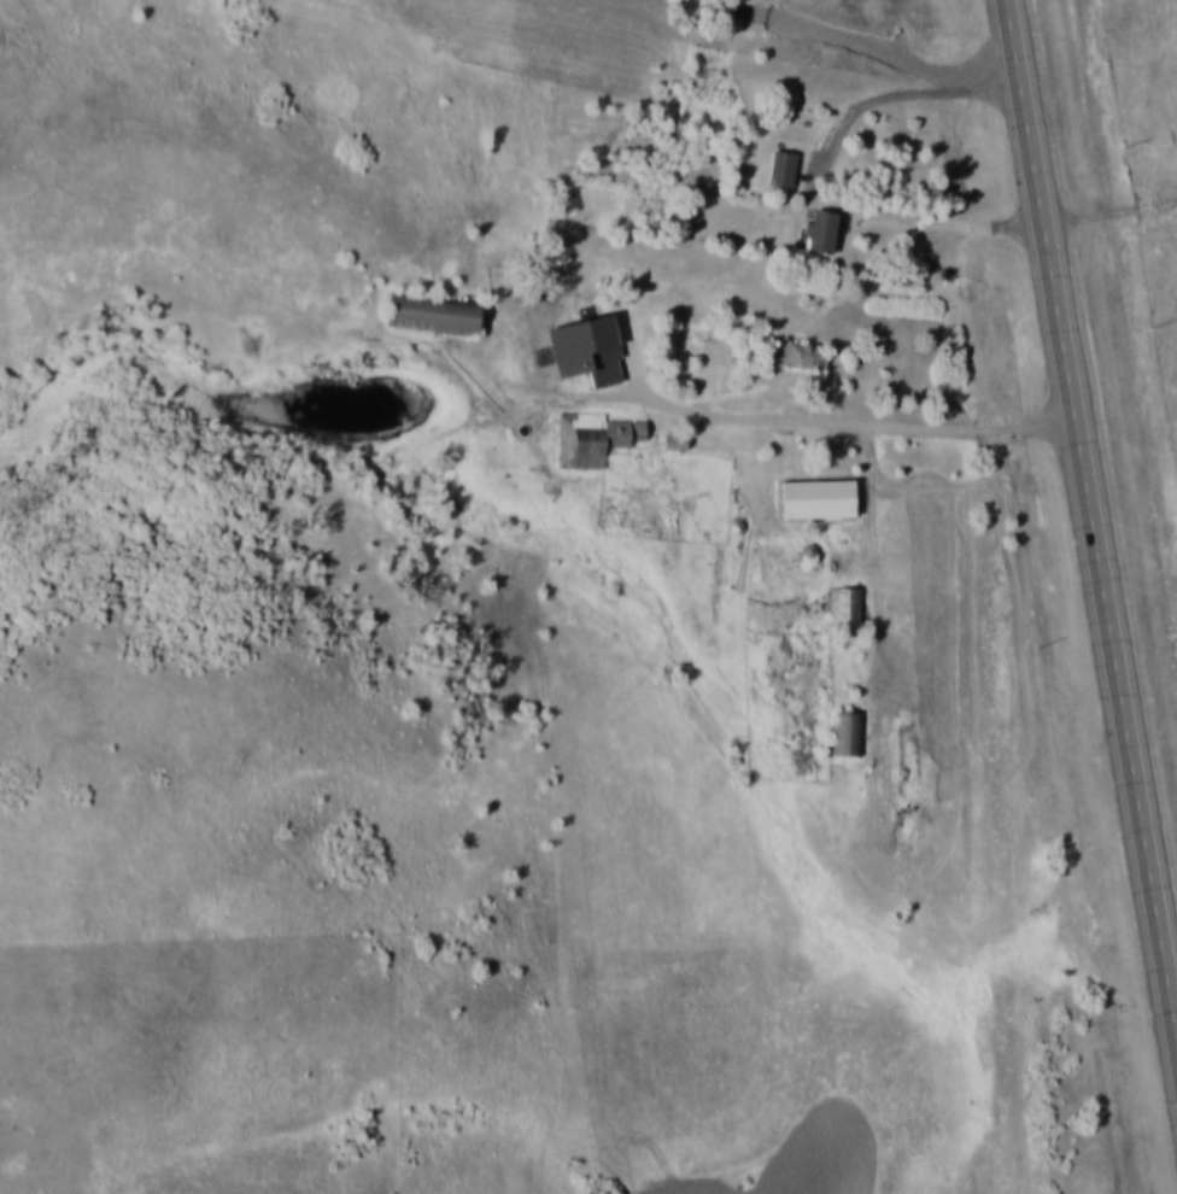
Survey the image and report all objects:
road: (900, 93)
building: (781, 168)
road: (1035, 216)
road: (949, 226)
building: (821, 230)
building: (434, 311)
building: (797, 353)
road: (814, 419)
building: (593, 438)
building: (674, 441)
building: (845, 609)
building: (847, 732)
road: (1124, 739)
road: (970, 954)

